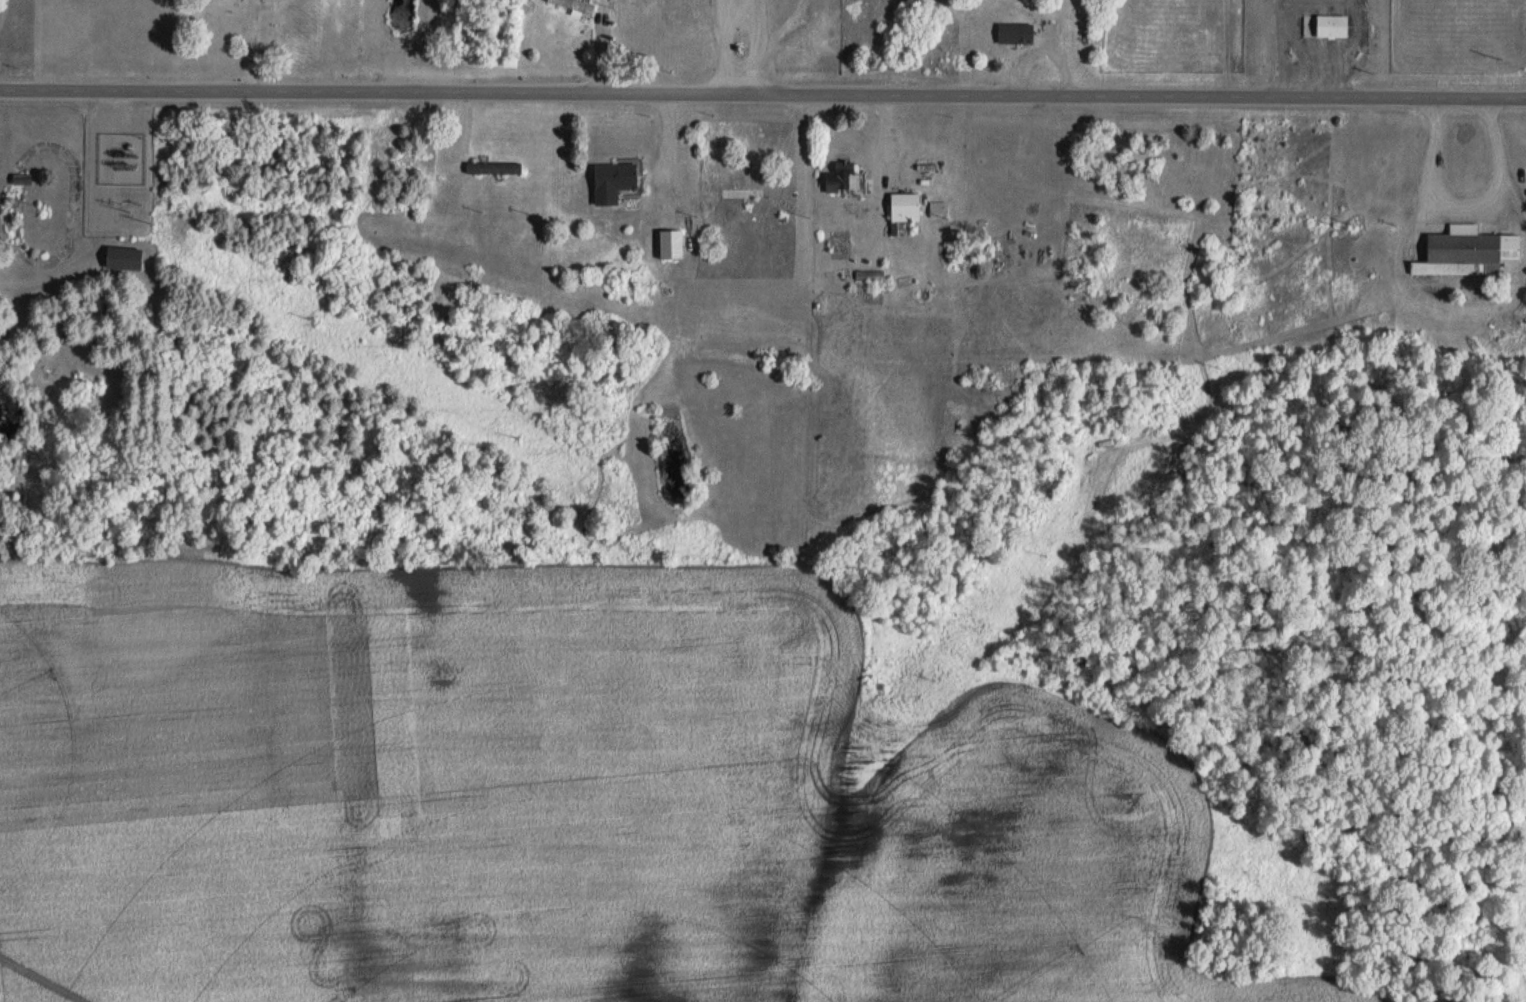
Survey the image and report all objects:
building: (574, 4)
road: (739, 20)
building: (1332, 25)
building: (1049, 27)
building: (1015, 32)
road: (719, 46)
road: (760, 46)
road: (762, 93)
building: (493, 168)
building: (843, 176)
building: (613, 181)
road: (1471, 202)
building: (905, 207)
building: (671, 243)
building: (1467, 251)
building: (122, 258)

